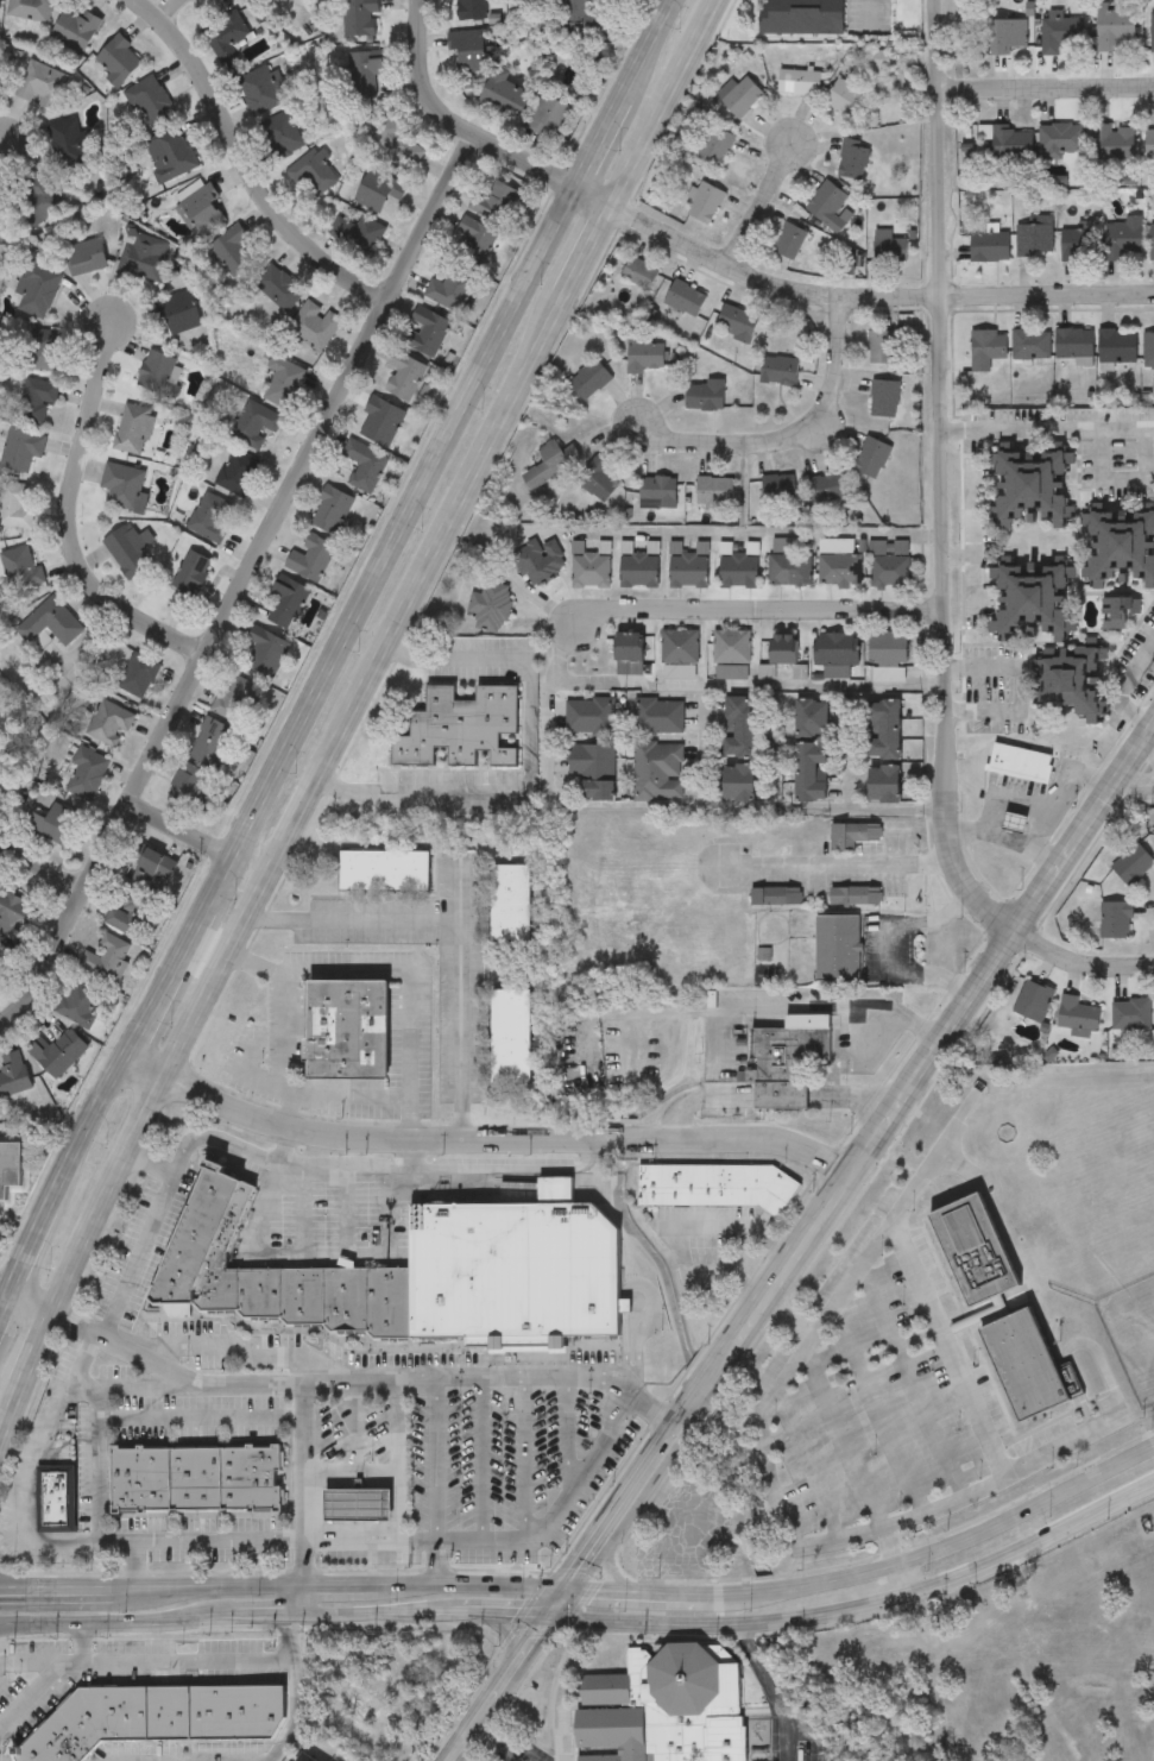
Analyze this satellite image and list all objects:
building: (260, 0)
building: (0, 6)
road: (166, 10)
building: (31, 11)
building: (472, 11)
road: (870, 12)
building: (802, 17)
building: (361, 19)
building: (576, 19)
building: (76, 29)
building: (1112, 29)
building: (1152, 30)
building: (227, 33)
building: (1058, 33)
building: (1005, 36)
building: (468, 50)
building: (119, 62)
building: (365, 78)
building: (800, 83)
building: (42, 86)
building: (260, 93)
road: (1043, 93)
building: (505, 95)
building: (740, 98)
building: (845, 100)
building: (151, 103)
road: (671, 106)
building: (550, 119)
road: (4, 130)
building: (282, 138)
road: (472, 139)
building: (1061, 139)
building: (1008, 141)
building: (1114, 141)
building: (1149, 141)
building: (397, 143)
building: (70, 144)
building: (719, 149)
building: (175, 153)
road: (246, 157)
building: (855, 162)
building: (311, 176)
building: (379, 191)
building: (38, 202)
building: (494, 203)
building: (707, 205)
road: (761, 207)
building: (831, 208)
building: (201, 212)
building: (1, 226)
building: (359, 234)
building: (1123, 237)
building: (1033, 238)
building: (1152, 241)
building: (792, 243)
building: (475, 244)
building: (1078, 244)
building: (989, 246)
building: (890, 249)
building: (233, 251)
road: (595, 256)
building: (87, 258)
building: (144, 258)
building: (641, 275)
building: (279, 289)
building: (37, 290)
building: (452, 291)
building: (686, 300)
road: (876, 300)
building: (179, 314)
building: (739, 325)
building: (315, 326)
building: (429, 333)
building: (1073, 342)
building: (1030, 344)
building: (1148, 345)
building: (1117, 346)
building: (986, 347)
building: (882, 348)
building: (45, 352)
building: (645, 357)
building: (781, 373)
building: (160, 376)
building: (404, 377)
building: (591, 382)
building: (283, 383)
building: (706, 398)
building: (885, 401)
building: (37, 404)
building: (381, 422)
building: (257, 423)
road: (1047, 428)
building: (133, 430)
road: (793, 441)
building: (21, 451)
building: (874, 459)
building: (551, 465)
building: (365, 466)
building: (238, 472)
road: (941, 479)
road: (1122, 479)
building: (600, 482)
building: (122, 486)
building: (1033, 488)
building: (778, 489)
building: (827, 491)
building: (658, 492)
building: (715, 493)
building: (17, 507)
building: (333, 512)
road: (65, 517)
building: (210, 517)
road: (650, 534)
building: (790, 546)
building: (1122, 547)
building: (878, 548)
building: (128, 553)
building: (311, 559)
building: (538, 559)
building: (838, 561)
building: (688, 566)
building: (588, 567)
building: (789, 568)
building: (638, 570)
building: (738, 570)
building: (890, 570)
building: (21, 571)
building: (189, 580)
road: (239, 584)
building: (1033, 600)
building: (286, 602)
building: (490, 606)
building: (1118, 614)
road: (759, 617)
building: (50, 627)
building: (680, 646)
building: (731, 646)
building: (783, 648)
building: (888, 648)
building: (837, 649)
road: (326, 653)
building: (629, 653)
building: (263, 654)
building: (138, 677)
building: (1073, 681)
road: (1123, 685)
road: (749, 686)
road: (1021, 688)
building: (234, 699)
building: (589, 716)
building: (658, 717)
building: (811, 717)
building: (109, 725)
building: (738, 727)
building: (460, 728)
building: (885, 730)
building: (213, 743)
road: (847, 757)
road: (526, 762)
road: (704, 763)
building: (1022, 765)
building: (592, 767)
road: (1142, 767)
building: (658, 771)
building: (811, 771)
building: (86, 775)
building: (738, 782)
building: (883, 782)
building: (13, 784)
building: (190, 790)
road: (1059, 795)
road: (309, 803)
road: (656, 810)
building: (1016, 824)
building: (56, 826)
road: (175, 830)
building: (853, 834)
road: (1002, 841)
road: (42, 867)
road: (837, 867)
building: (1133, 867)
building: (150, 869)
building: (384, 870)
building: (857, 894)
building: (774, 895)
building: (512, 902)
road: (355, 914)
building: (128, 916)
building: (17, 917)
building: (1121, 922)
road: (885, 944)
building: (839, 946)
road: (1079, 960)
building: (107, 962)
building: (1, 964)
road: (459, 1002)
building: (1034, 1002)
building: (78, 1006)
building: (1131, 1017)
building: (1079, 1019)
road: (284, 1023)
road: (412, 1027)
building: (348, 1032)
building: (511, 1037)
building: (59, 1055)
building: (783, 1063)
building: (13, 1081)
road: (409, 1119)
road: (483, 1140)
road: (282, 1145)
road: (408, 1155)
road: (297, 1163)
road: (151, 1166)
building: (10, 1170)
building: (715, 1188)
road: (883, 1232)
road: (679, 1233)
road: (802, 1243)
building: (976, 1252)
building: (515, 1273)
parking lot: (0, 1275)
building: (275, 1277)
road: (4, 1293)
road: (31, 1303)
road: (39, 1351)
building: (1026, 1366)
road: (362, 1379)
road: (145, 1388)
parking lot: (894, 1407)
road: (972, 1407)
road: (200, 1419)
road: (833, 1421)
parking lot: (405, 1422)
road: (12, 1423)
road: (392, 1426)
road: (101, 1449)
road: (297, 1460)
road: (379, 1473)
building: (196, 1480)
road: (770, 1490)
building: (55, 1502)
road: (258, 1540)
road: (1034, 1541)
road: (940, 1549)
road: (437, 1561)
road: (298, 1562)
road: (130, 1564)
road: (608, 1571)
road: (906, 1579)
road: (340, 1585)
road: (12, 1586)
traffic signals: (570, 1587)
road: (639, 1587)
road: (56, 1591)
road: (297, 1603)
road: (860, 1609)
road: (376, 1618)
road: (265, 1620)
road: (503, 1620)
road: (116, 1621)
traffic signals: (549, 1621)
road: (680, 1622)
road: (13, 1625)
road: (513, 1639)
road: (82, 1641)
road: (146, 1659)
road: (952, 1669)
road: (771, 1687)
road: (291, 1696)
building: (1108, 1697)
building: (361, 1700)
building: (664, 1709)
building: (157, 1717)
road: (496, 1747)
building: (305, 1759)

